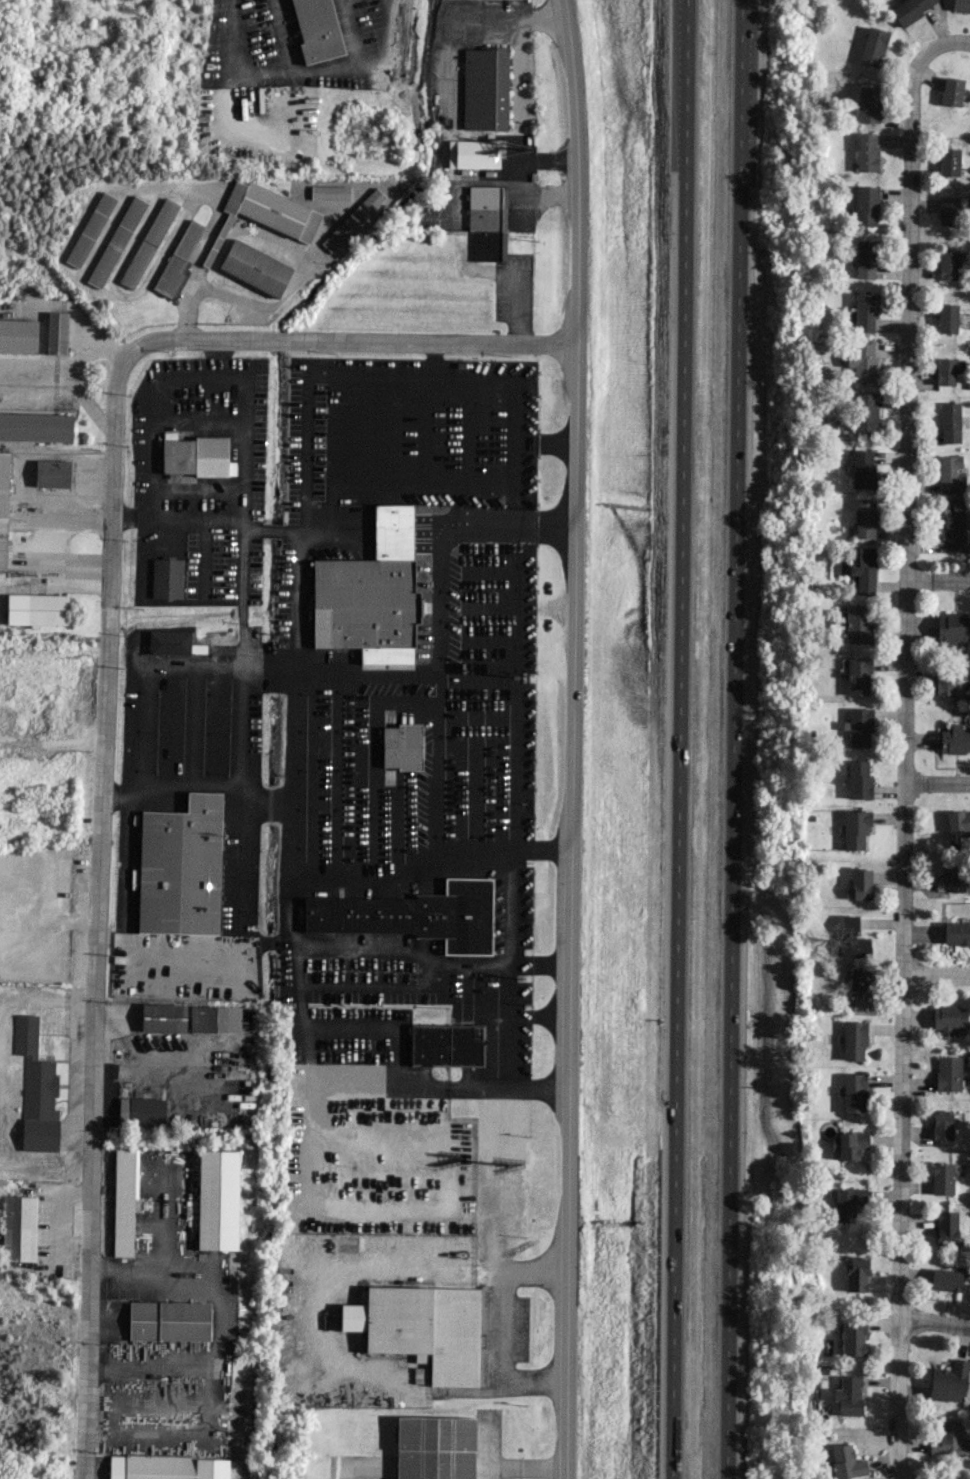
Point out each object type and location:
building: (961, 5)
building: (910, 9)
road: (460, 18)
building: (317, 30)
building: (872, 47)
road: (336, 67)
road: (520, 68)
road: (264, 70)
road: (227, 89)
building: (485, 89)
building: (951, 91)
building: (867, 103)
building: (866, 152)
building: (949, 162)
road: (522, 179)
building: (330, 193)
building: (865, 206)
building: (948, 211)
building: (267, 212)
building: (353, 220)
building: (488, 222)
building: (90, 230)
building: (116, 242)
building: (148, 243)
building: (865, 259)
building: (177, 261)
building: (947, 265)
building: (255, 268)
road: (516, 309)
building: (865, 312)
building: (947, 319)
building: (57, 333)
building: (18, 336)
building: (861, 361)
building: (947, 370)
building: (865, 412)
building: (950, 422)
building: (35, 427)
building: (196, 457)
building: (863, 469)
building: (53, 473)
building: (950, 474)
building: (3, 508)
building: (864, 518)
building: (954, 526)
building: (864, 570)
building: (167, 578)
road: (937, 582)
building: (371, 596)
building: (37, 610)
building: (857, 624)
building: (952, 629)
building: (169, 643)
building: (858, 676)
building: (944, 685)
road: (104, 689)
building: (860, 728)
road: (572, 739)
road: (678, 739)
road: (732, 739)
building: (955, 740)
road: (904, 742)
building: (402, 746)
building: (858, 779)
road: (937, 783)
building: (958, 822)
building: (855, 829)
building: (180, 868)
building: (951, 878)
building: (861, 884)
building: (415, 915)
building: (956, 933)
building: (853, 939)
road: (936, 975)
building: (859, 982)
building: (163, 1018)
building: (948, 1018)
building: (215, 1019)
building: (854, 1041)
building: (446, 1045)
building: (948, 1073)
building: (214, 1082)
building: (36, 1090)
building: (854, 1093)
building: (141, 1112)
building: (942, 1125)
building: (852, 1145)
building: (942, 1178)
building: (218, 1200)
building: (124, 1203)
building: (848, 1203)
building: (946, 1228)
building: (19, 1229)
building: (856, 1274)
building: (946, 1280)
building: (169, 1321)
road: (934, 1325)
road: (502, 1327)
building: (853, 1337)
building: (949, 1382)
building: (849, 1396)
building: (949, 1440)
building: (435, 1448)
building: (846, 1462)
building: (159, 1467)

